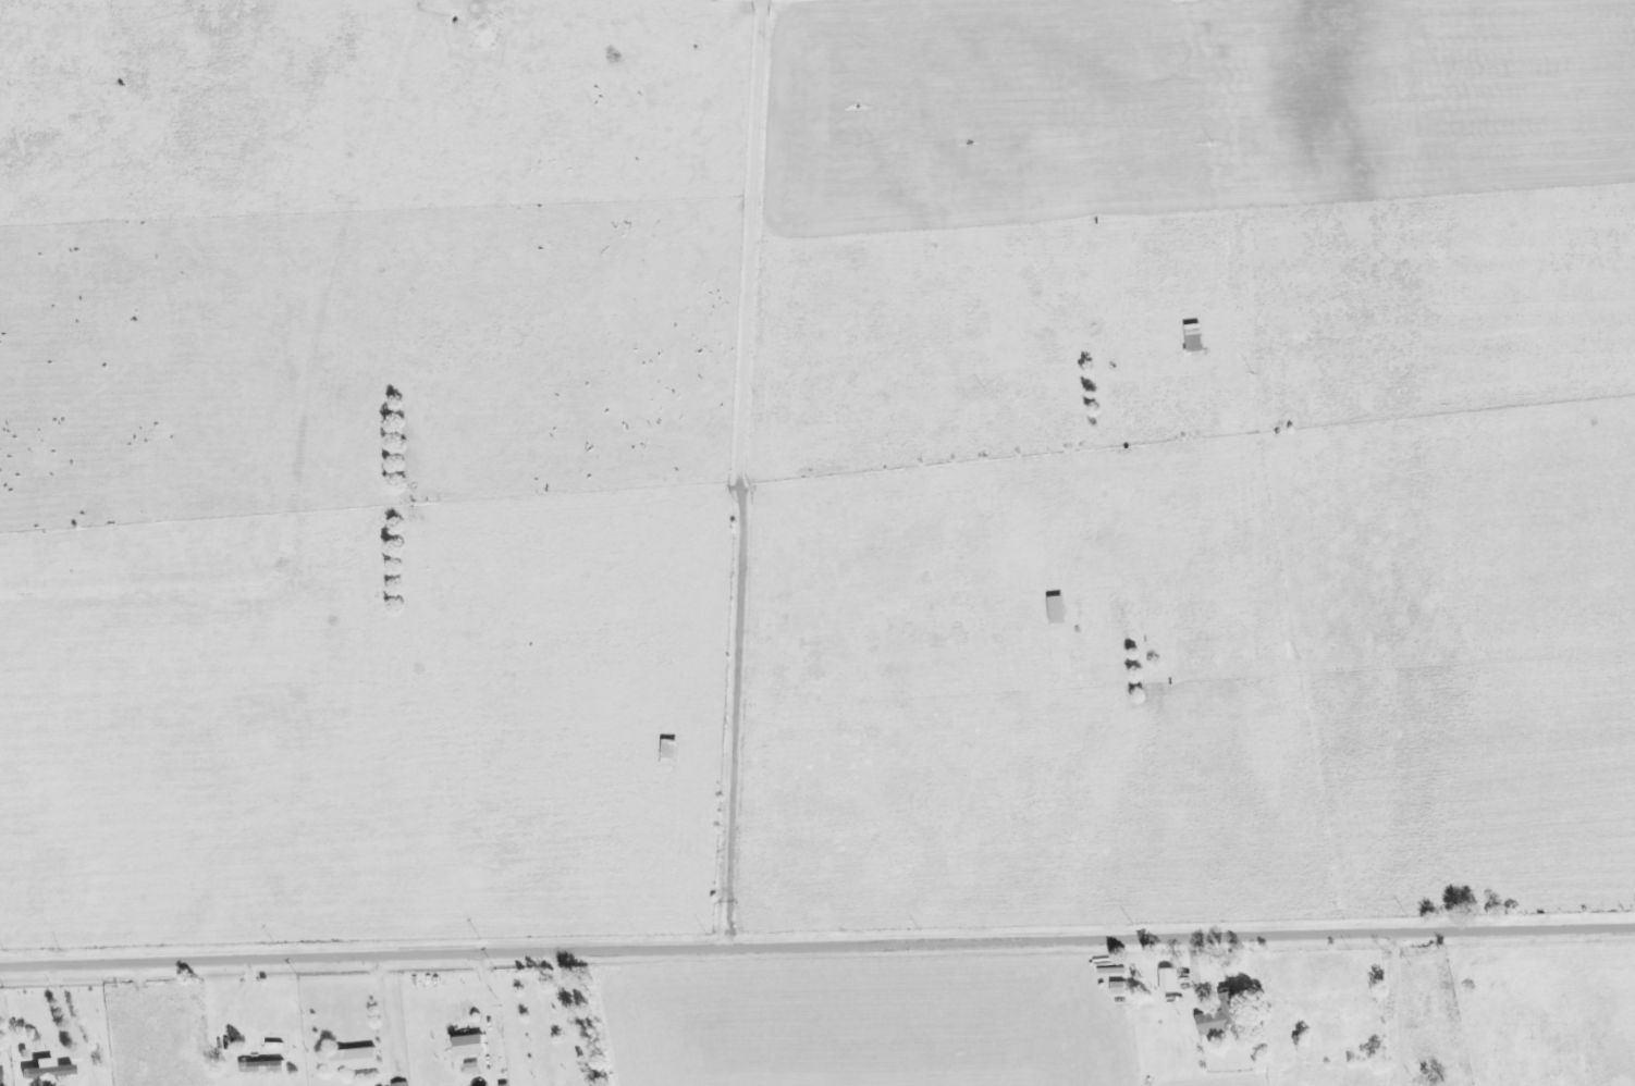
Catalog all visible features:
road: (740, 474)
road: (817, 948)
road: (1398, 979)
building: (1172, 982)
road: (239, 1002)
road: (391, 1012)
building: (1222, 1017)
road: (69, 1019)
building: (472, 1046)
building: (357, 1060)
building: (266, 1068)
building: (48, 1072)
building: (2, 1073)
building: (404, 1084)

